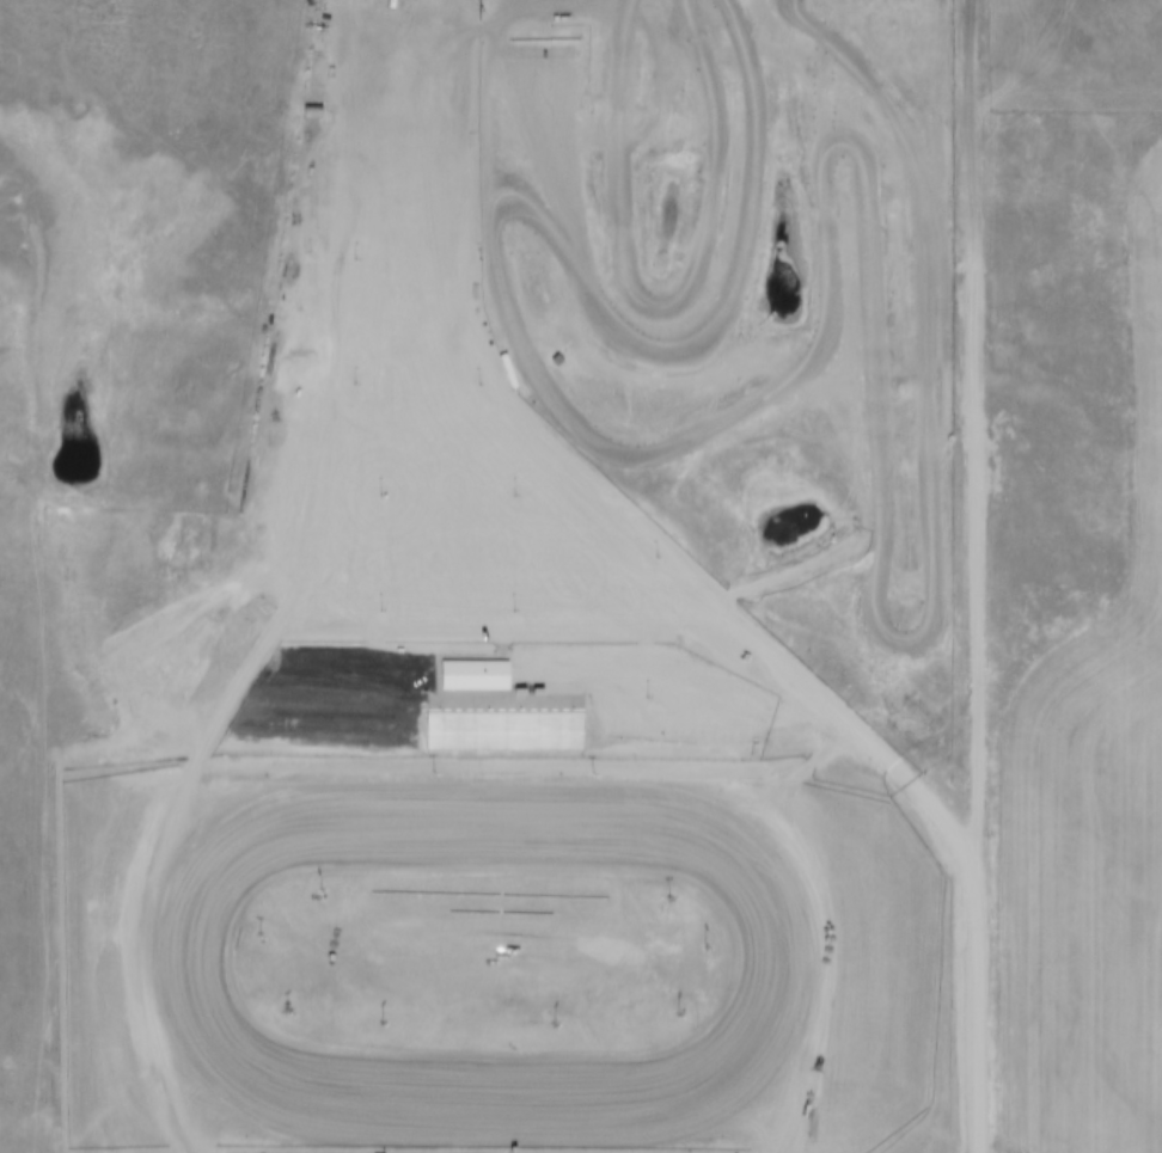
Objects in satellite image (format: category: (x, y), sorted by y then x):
raceway: (666, 296)
raceway: (512, 314)
road: (977, 487)
road: (776, 582)
raceway: (911, 615)
road: (857, 790)
road: (173, 1065)
road: (979, 1065)
raceway: (629, 1091)

